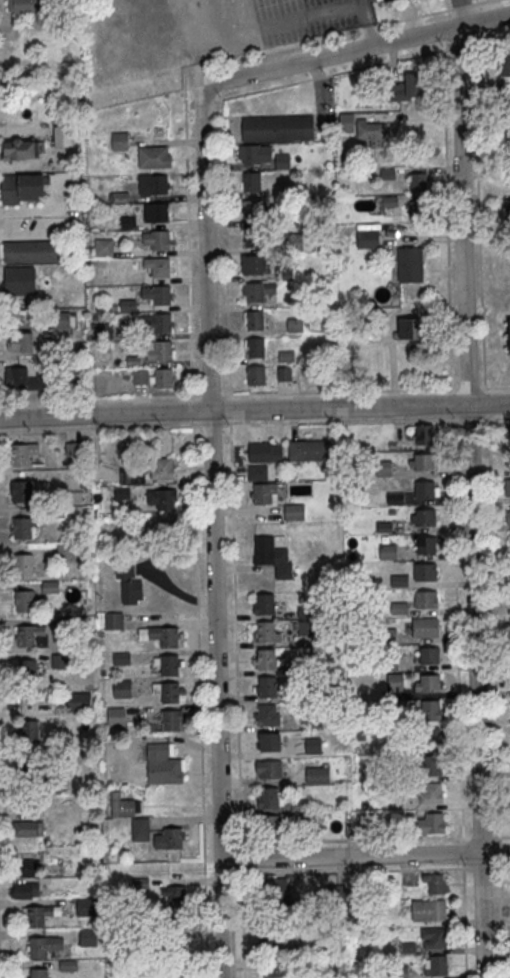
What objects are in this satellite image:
building: (386, 1)
road: (480, 1)
road: (463, 5)
building: (22, 6)
road: (434, 11)
road: (410, 17)
road: (388, 22)
road: (368, 27)
road: (493, 37)
road: (273, 48)
road: (350, 50)
building: (504, 66)
road: (332, 73)
building: (406, 88)
building: (502, 89)
building: (277, 129)
building: (368, 129)
building: (62, 135)
building: (504, 141)
building: (22, 149)
building: (251, 155)
building: (154, 158)
building: (419, 181)
building: (251, 183)
building: (153, 186)
building: (21, 189)
building: (389, 200)
building: (507, 207)
building: (415, 209)
building: (252, 210)
building: (156, 214)
road: (447, 216)
road: (478, 216)
road: (187, 232)
building: (367, 237)
building: (252, 238)
building: (157, 241)
road: (224, 244)
building: (103, 247)
building: (31, 252)
building: (410, 263)
building: (253, 266)
building: (158, 268)
building: (20, 282)
building: (254, 294)
building: (157, 296)
building: (127, 304)
building: (65, 319)
building: (254, 321)
building: (155, 324)
building: (412, 330)
building: (509, 338)
building: (23, 341)
building: (255, 349)
building: (160, 353)
building: (255, 376)
building: (23, 378)
building: (163, 379)
road: (495, 386)
road: (468, 387)
road: (340, 391)
road: (112, 398)
road: (486, 401)
road: (451, 405)
road: (254, 409)
road: (495, 417)
road: (337, 421)
road: (99, 427)
building: (424, 433)
building: (73, 448)
building: (310, 449)
building: (265, 451)
building: (22, 452)
building: (509, 461)
building: (424, 463)
building: (162, 467)
building: (383, 467)
building: (258, 470)
building: (509, 485)
building: (20, 490)
building: (424, 491)
building: (121, 492)
building: (263, 492)
building: (396, 497)
building: (162, 498)
road: (470, 502)
building: (294, 511)
building: (508, 513)
building: (425, 519)
building: (22, 527)
road: (212, 540)
building: (425, 546)
building: (387, 551)
building: (70, 552)
building: (272, 555)
building: (24, 563)
building: (124, 568)
building: (425, 572)
building: (399, 580)
building: (131, 591)
building: (25, 600)
building: (426, 600)
building: (265, 605)
building: (113, 620)
building: (305, 626)
building: (425, 626)
road: (493, 627)
road: (456, 629)
building: (265, 632)
road: (235, 633)
building: (31, 635)
building: (169, 638)
building: (428, 656)
building: (121, 658)
building: (57, 660)
building: (266, 660)
building: (169, 666)
building: (27, 669)
building: (429, 684)
building: (121, 687)
building: (266, 688)
building: (170, 694)
road: (200, 699)
building: (79, 701)
building: (431, 709)
building: (116, 715)
building: (266, 716)
building: (170, 722)
building: (313, 722)
building: (29, 729)
building: (431, 738)
building: (269, 743)
building: (313, 744)
building: (162, 763)
building: (431, 765)
building: (270, 771)
building: (317, 773)
road: (5, 776)
building: (431, 792)
building: (269, 797)
building: (132, 817)
building: (429, 822)
building: (271, 825)
building: (28, 828)
road: (501, 835)
road: (480, 836)
building: (169, 837)
road: (352, 839)
road: (461, 850)
road: (499, 850)
road: (365, 856)
road: (242, 858)
building: (26, 867)
road: (482, 867)
road: (501, 867)
road: (355, 869)
building: (434, 882)
building: (25, 890)
building: (275, 892)
building: (334, 894)
building: (175, 895)
building: (88, 906)
building: (428, 910)
building: (41, 914)
road: (501, 918)
road: (464, 919)
road: (244, 924)
building: (88, 936)
building: (436, 938)
building: (272, 940)
building: (43, 945)
building: (437, 966)
building: (172, 968)
building: (278, 968)
building: (39, 972)

